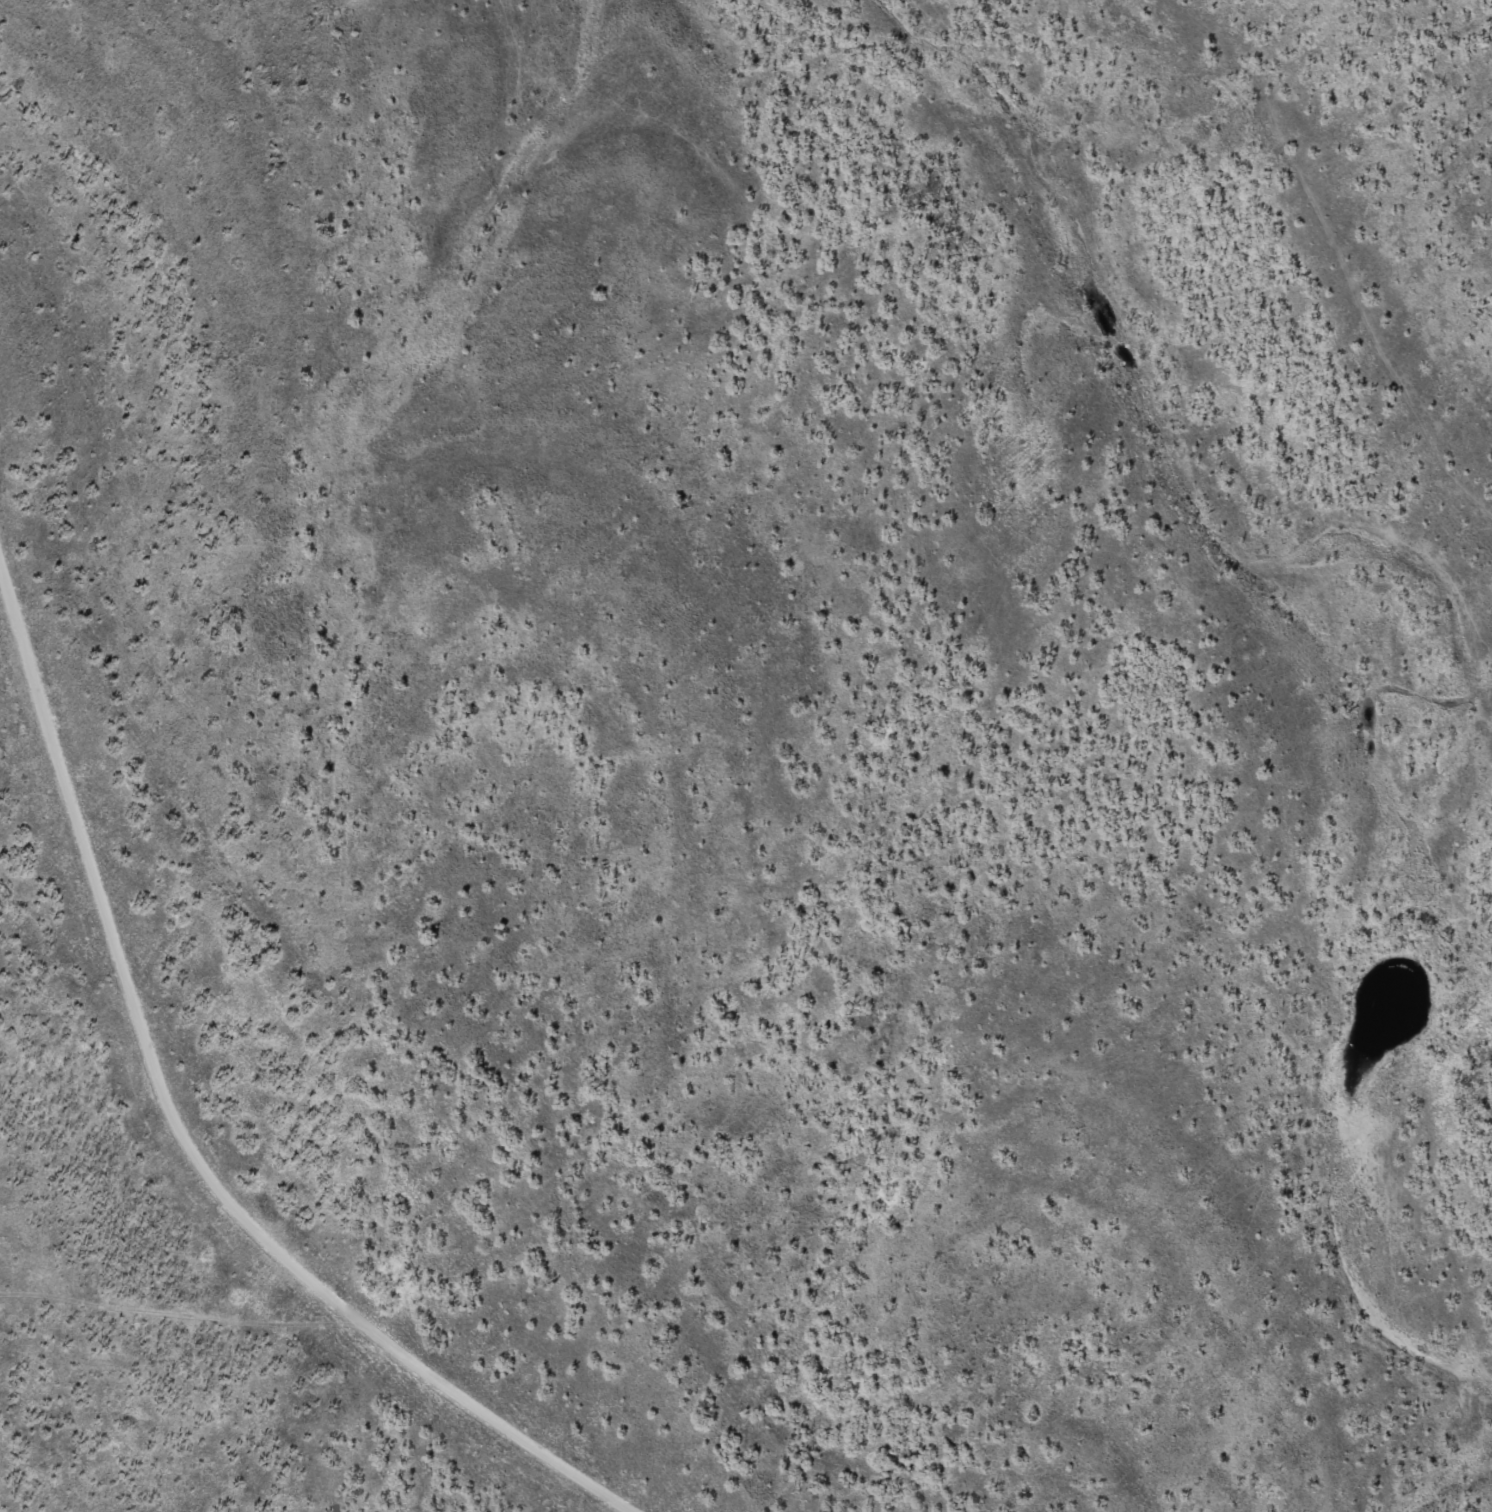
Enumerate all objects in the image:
road: (1353, 231)
road: (1340, 1186)
road: (342, 1349)

